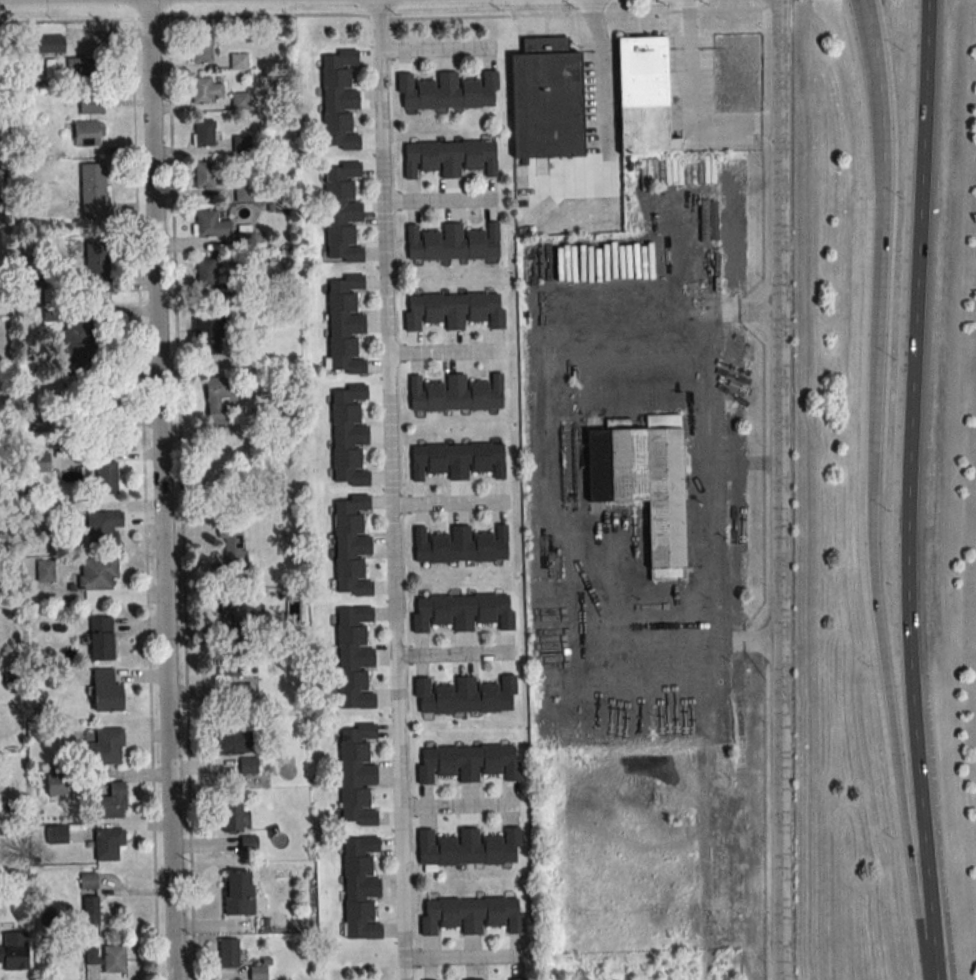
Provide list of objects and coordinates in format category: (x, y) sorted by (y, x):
road: (383, 17)
building: (50, 44)
road: (435, 48)
building: (204, 50)
building: (238, 61)
building: (79, 67)
building: (206, 90)
building: (446, 91)
building: (643, 97)
building: (339, 99)
road: (880, 99)
building: (239, 100)
building: (546, 100)
building: (91, 104)
road: (692, 108)
building: (203, 132)
building: (89, 133)
building: (241, 143)
building: (449, 157)
building: (205, 174)
building: (94, 190)
building: (243, 193)
road: (436, 201)
building: (342, 212)
building: (211, 224)
building: (451, 242)
building: (206, 270)
building: (100, 280)
building: (454, 310)
building: (344, 324)
building: (208, 326)
building: (79, 343)
road: (445, 352)
building: (455, 393)
building: (220, 400)
building: (348, 435)
road: (912, 440)
building: (457, 459)
building: (39, 461)
road: (708, 476)
building: (106, 477)
building: (645, 484)
road: (389, 489)
road: (778, 489)
road: (160, 490)
road: (446, 504)
building: (103, 527)
road: (873, 542)
building: (351, 545)
building: (460, 545)
building: (234, 547)
building: (45, 569)
building: (91, 574)
building: (239, 610)
building: (462, 611)
building: (101, 638)
road: (454, 654)
building: (354, 658)
building: (232, 665)
building: (105, 691)
building: (464, 695)
building: (236, 696)
building: (232, 741)
building: (107, 746)
building: (467, 762)
building: (357, 775)
building: (56, 784)
building: (112, 801)
road: (458, 806)
building: (231, 817)
building: (56, 834)
building: (249, 843)
building: (108, 845)
building: (468, 848)
building: (360, 887)
building: (238, 892)
building: (90, 910)
building: (470, 914)
road: (930, 930)
building: (13, 947)
building: (228, 952)
building: (107, 957)
road: (462, 957)
building: (473, 979)
building: (515, 979)

